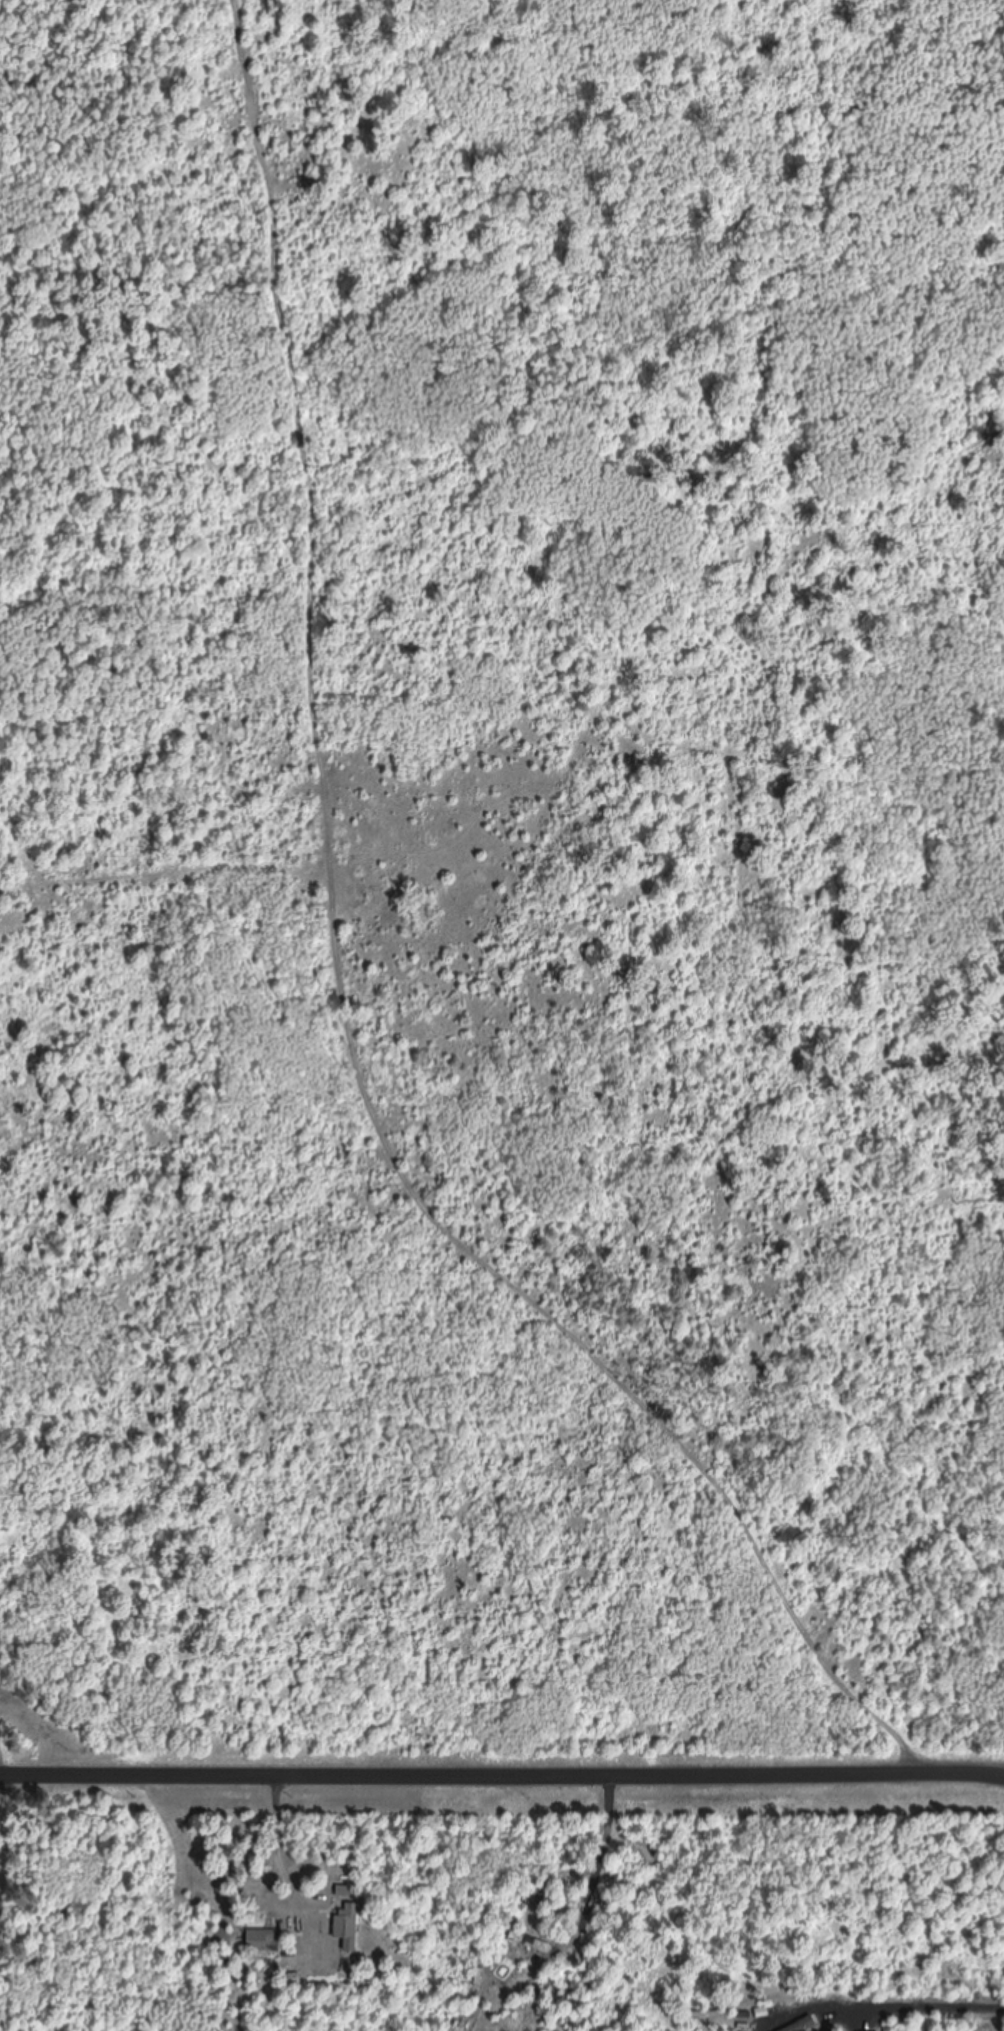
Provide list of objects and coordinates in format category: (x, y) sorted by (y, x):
road: (351, 975)
road: (501, 1764)
building: (348, 1926)
building: (803, 2024)

